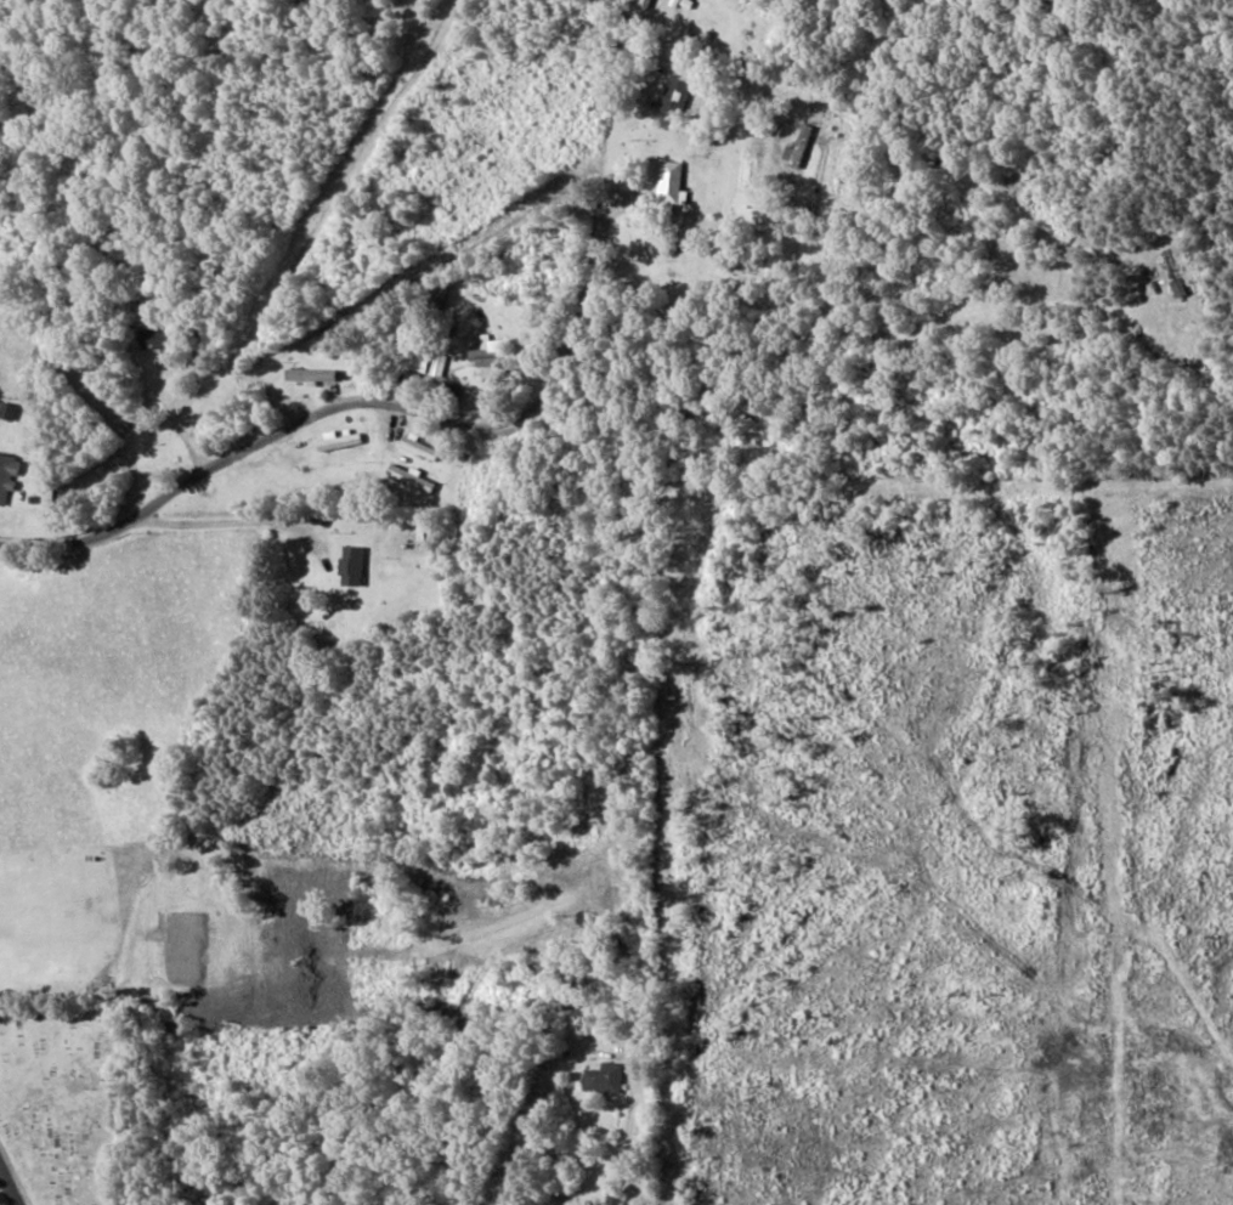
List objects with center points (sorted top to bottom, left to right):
building: (674, 95)
building: (796, 146)
building: (668, 181)
building: (1172, 272)
building: (152, 338)
building: (483, 351)
building: (411, 358)
building: (437, 364)
building: (309, 375)
building: (336, 440)
building: (414, 446)
building: (7, 475)
building: (407, 476)
building: (349, 566)
building: (601, 1079)
road: (106, 1080)

